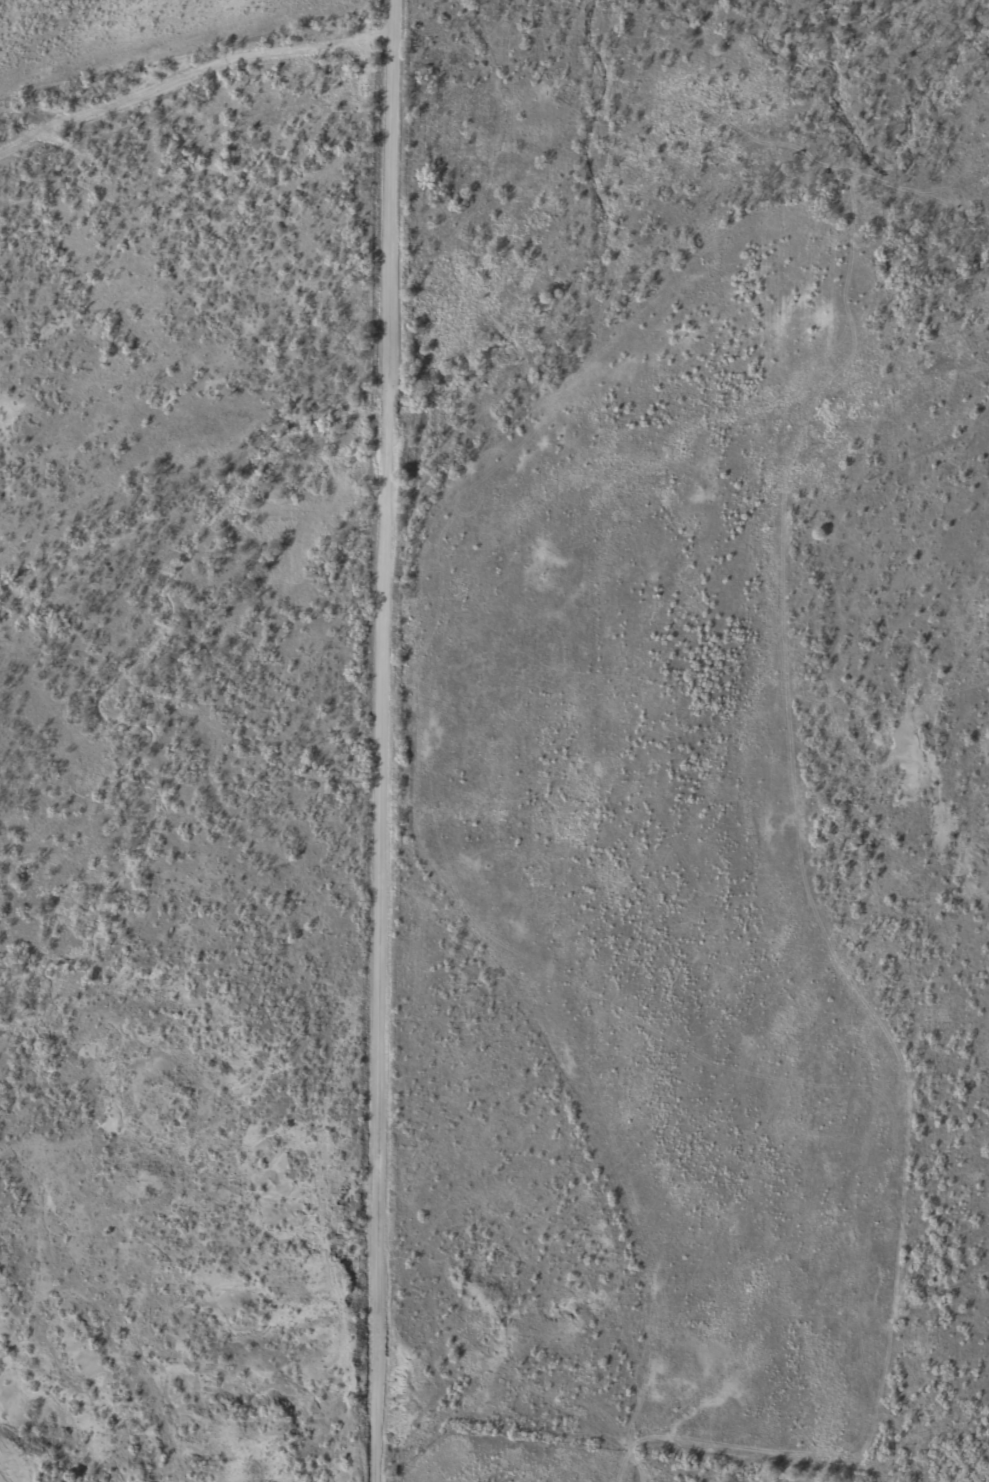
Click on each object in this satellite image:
road: (197, 82)
road: (384, 740)

